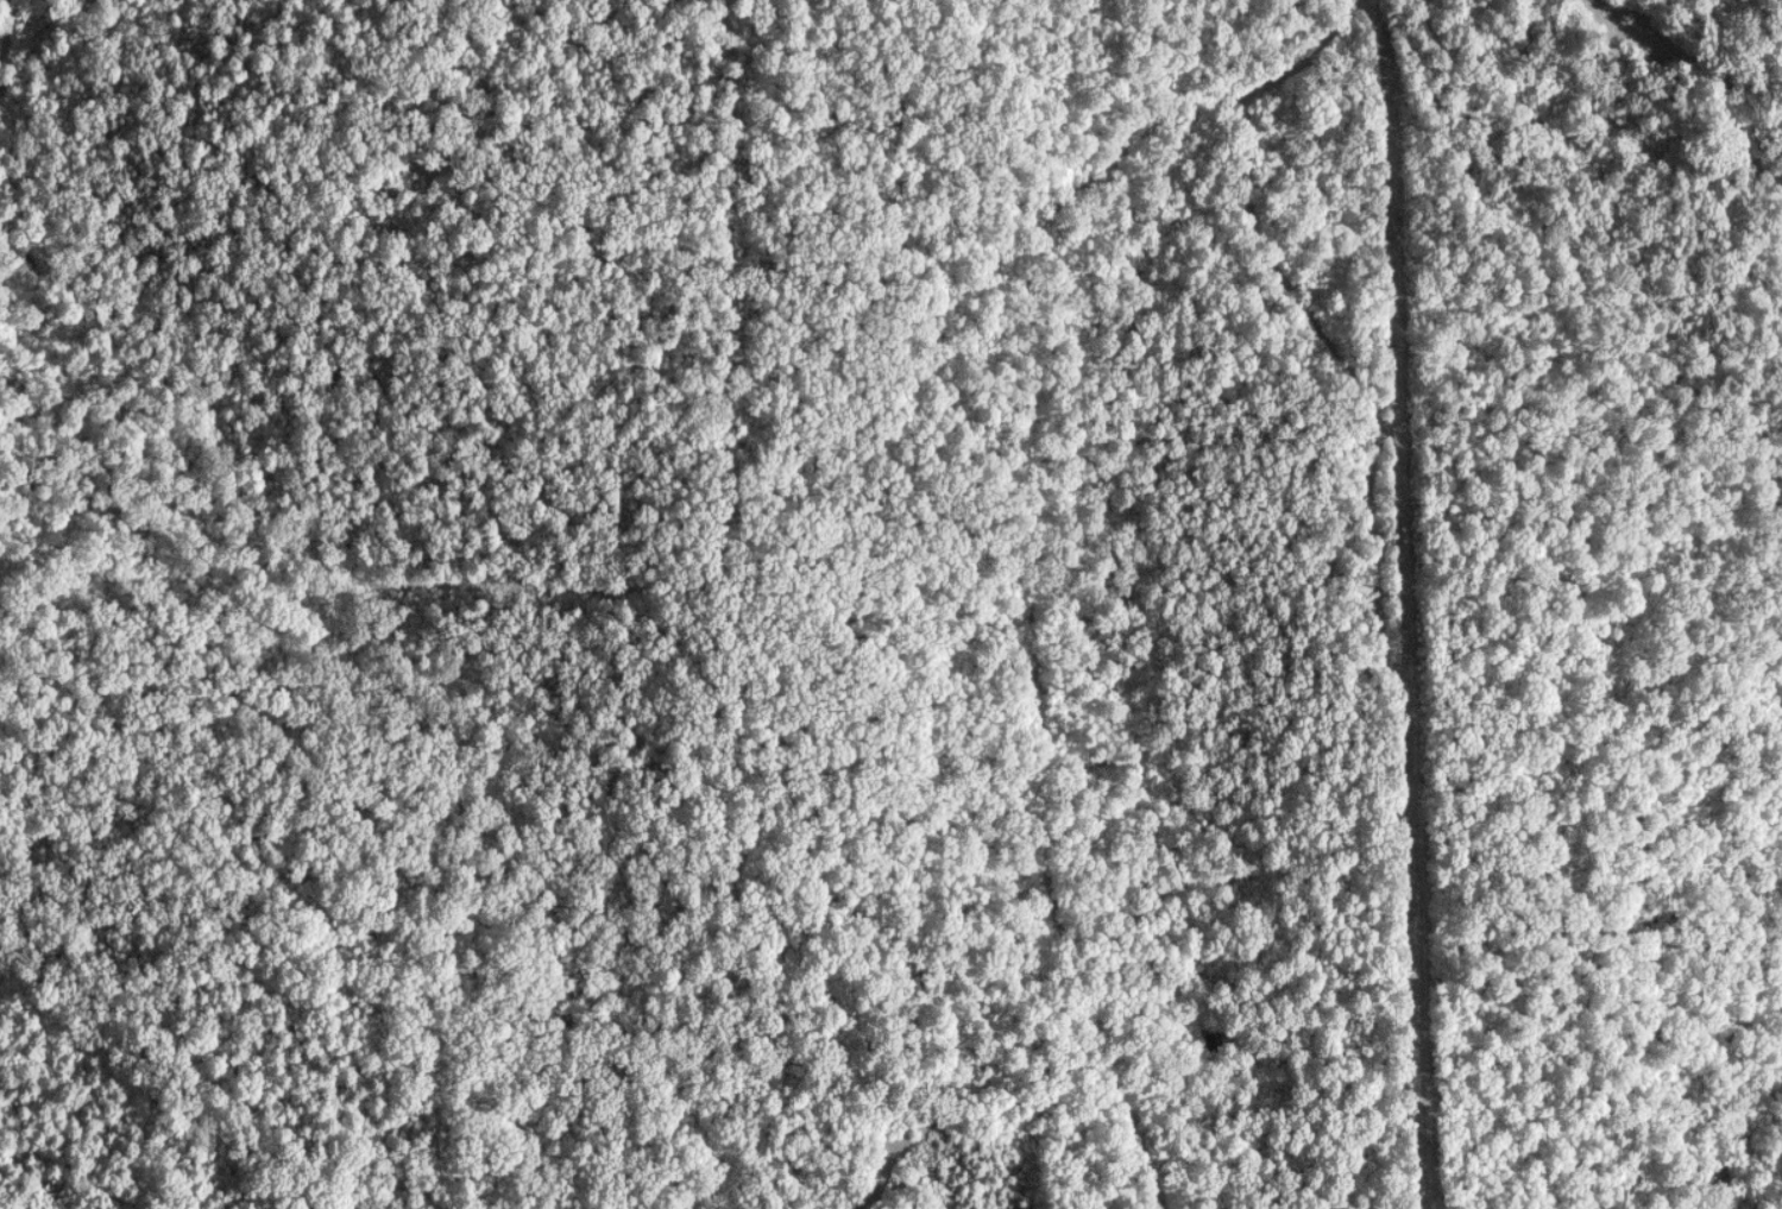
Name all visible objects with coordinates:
road: (1034, 536)

